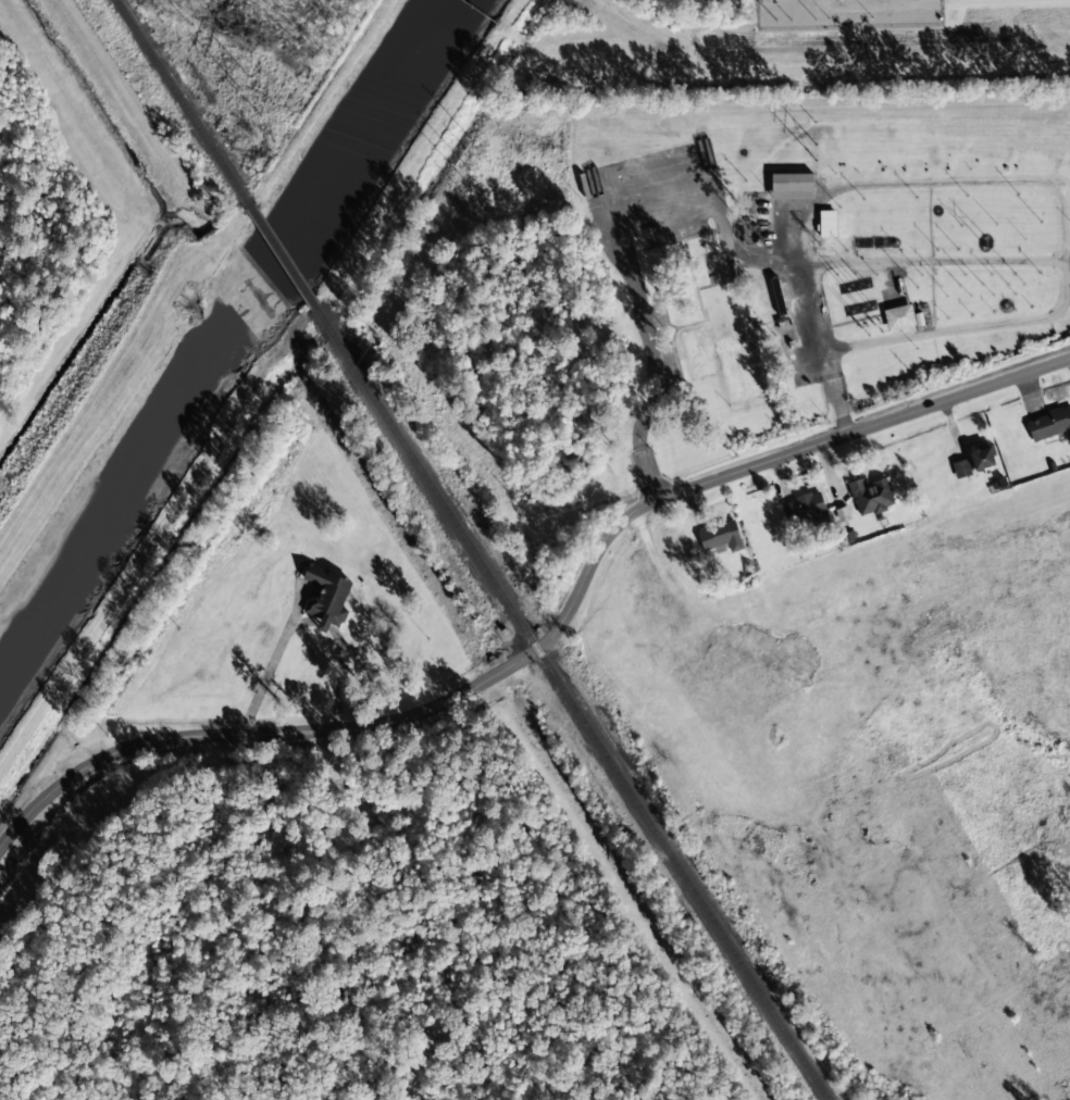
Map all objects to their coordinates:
railway: (181, 101)
power tower: (474, 184)
building: (792, 187)
building: (826, 224)
railway: (279, 255)
building: (901, 317)
building: (697, 353)
building: (741, 377)
building: (1049, 425)
building: (981, 458)
building: (960, 468)
building: (870, 496)
building: (804, 508)
building: (720, 536)
building: (327, 598)
road: (550, 635)
railway: (571, 703)

